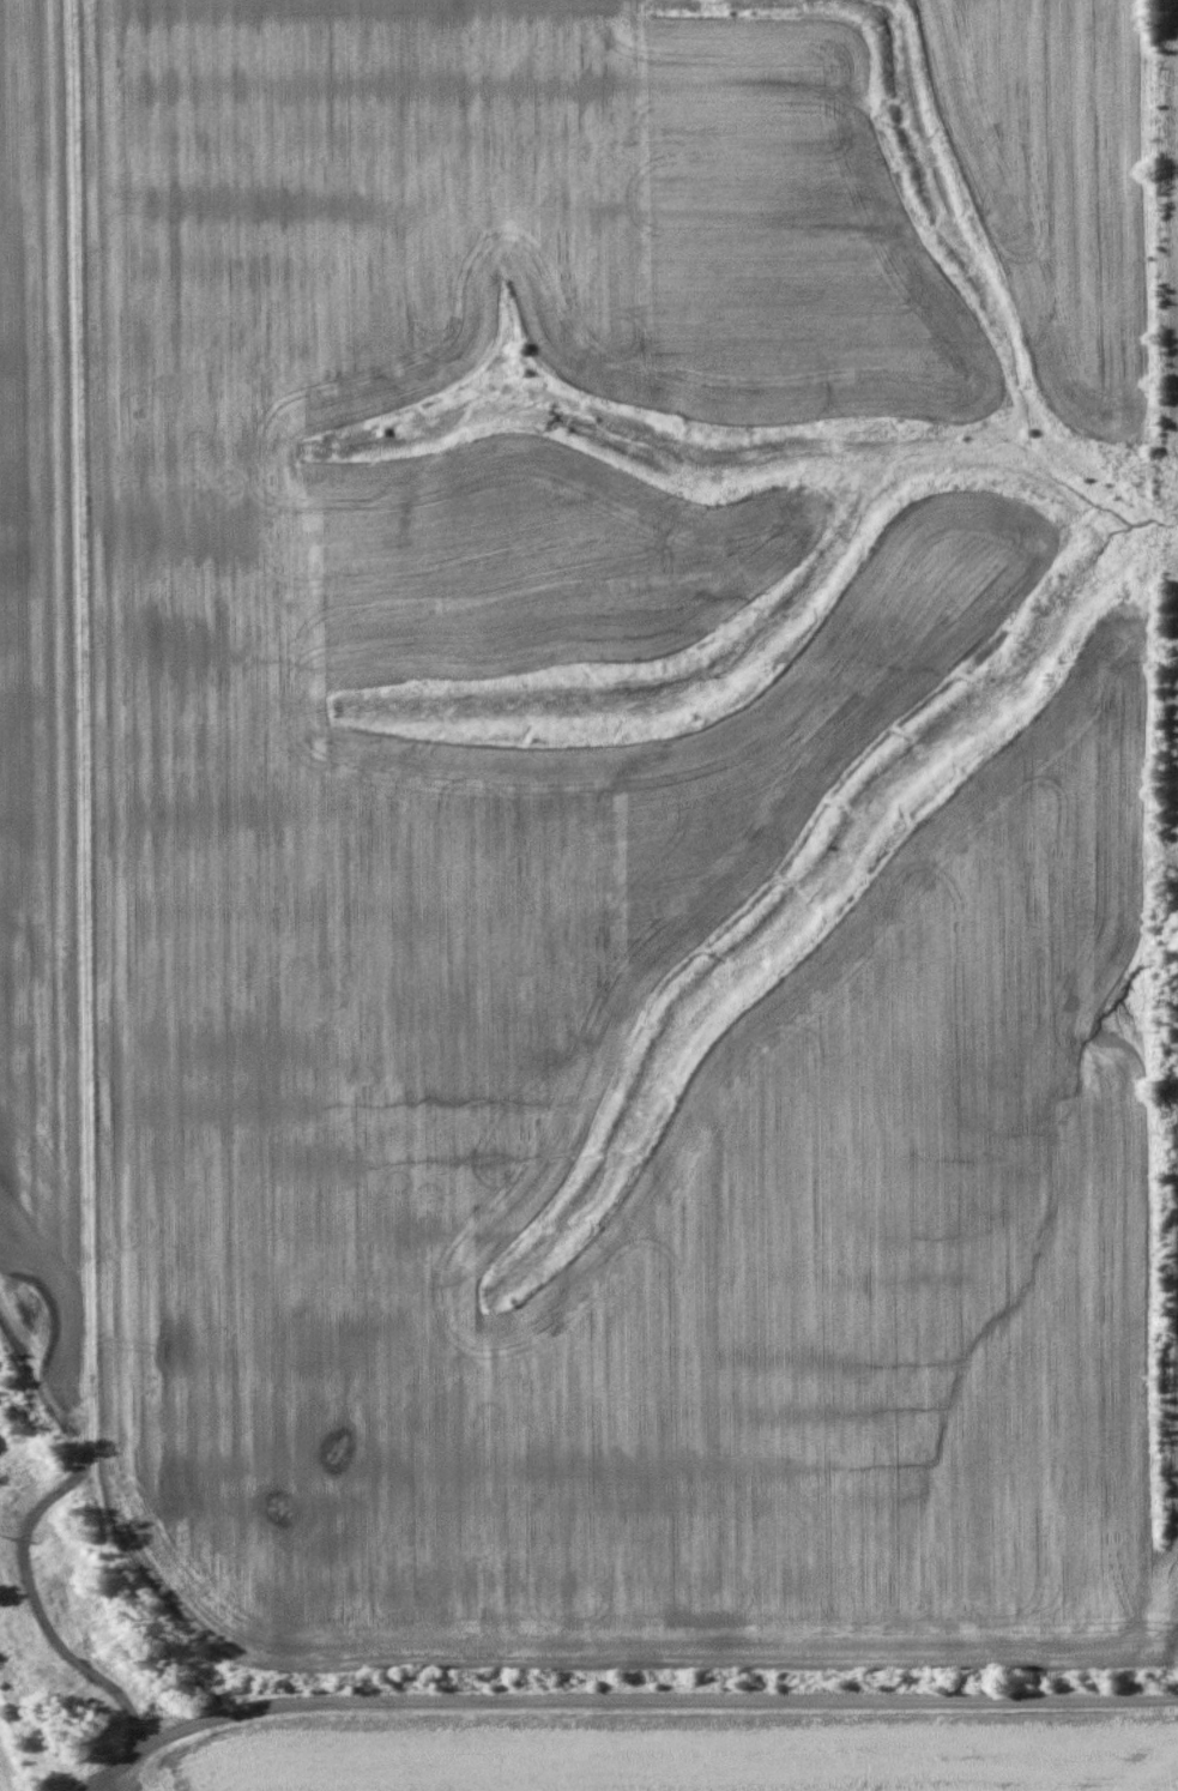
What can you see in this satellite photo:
road: (618, 1697)

